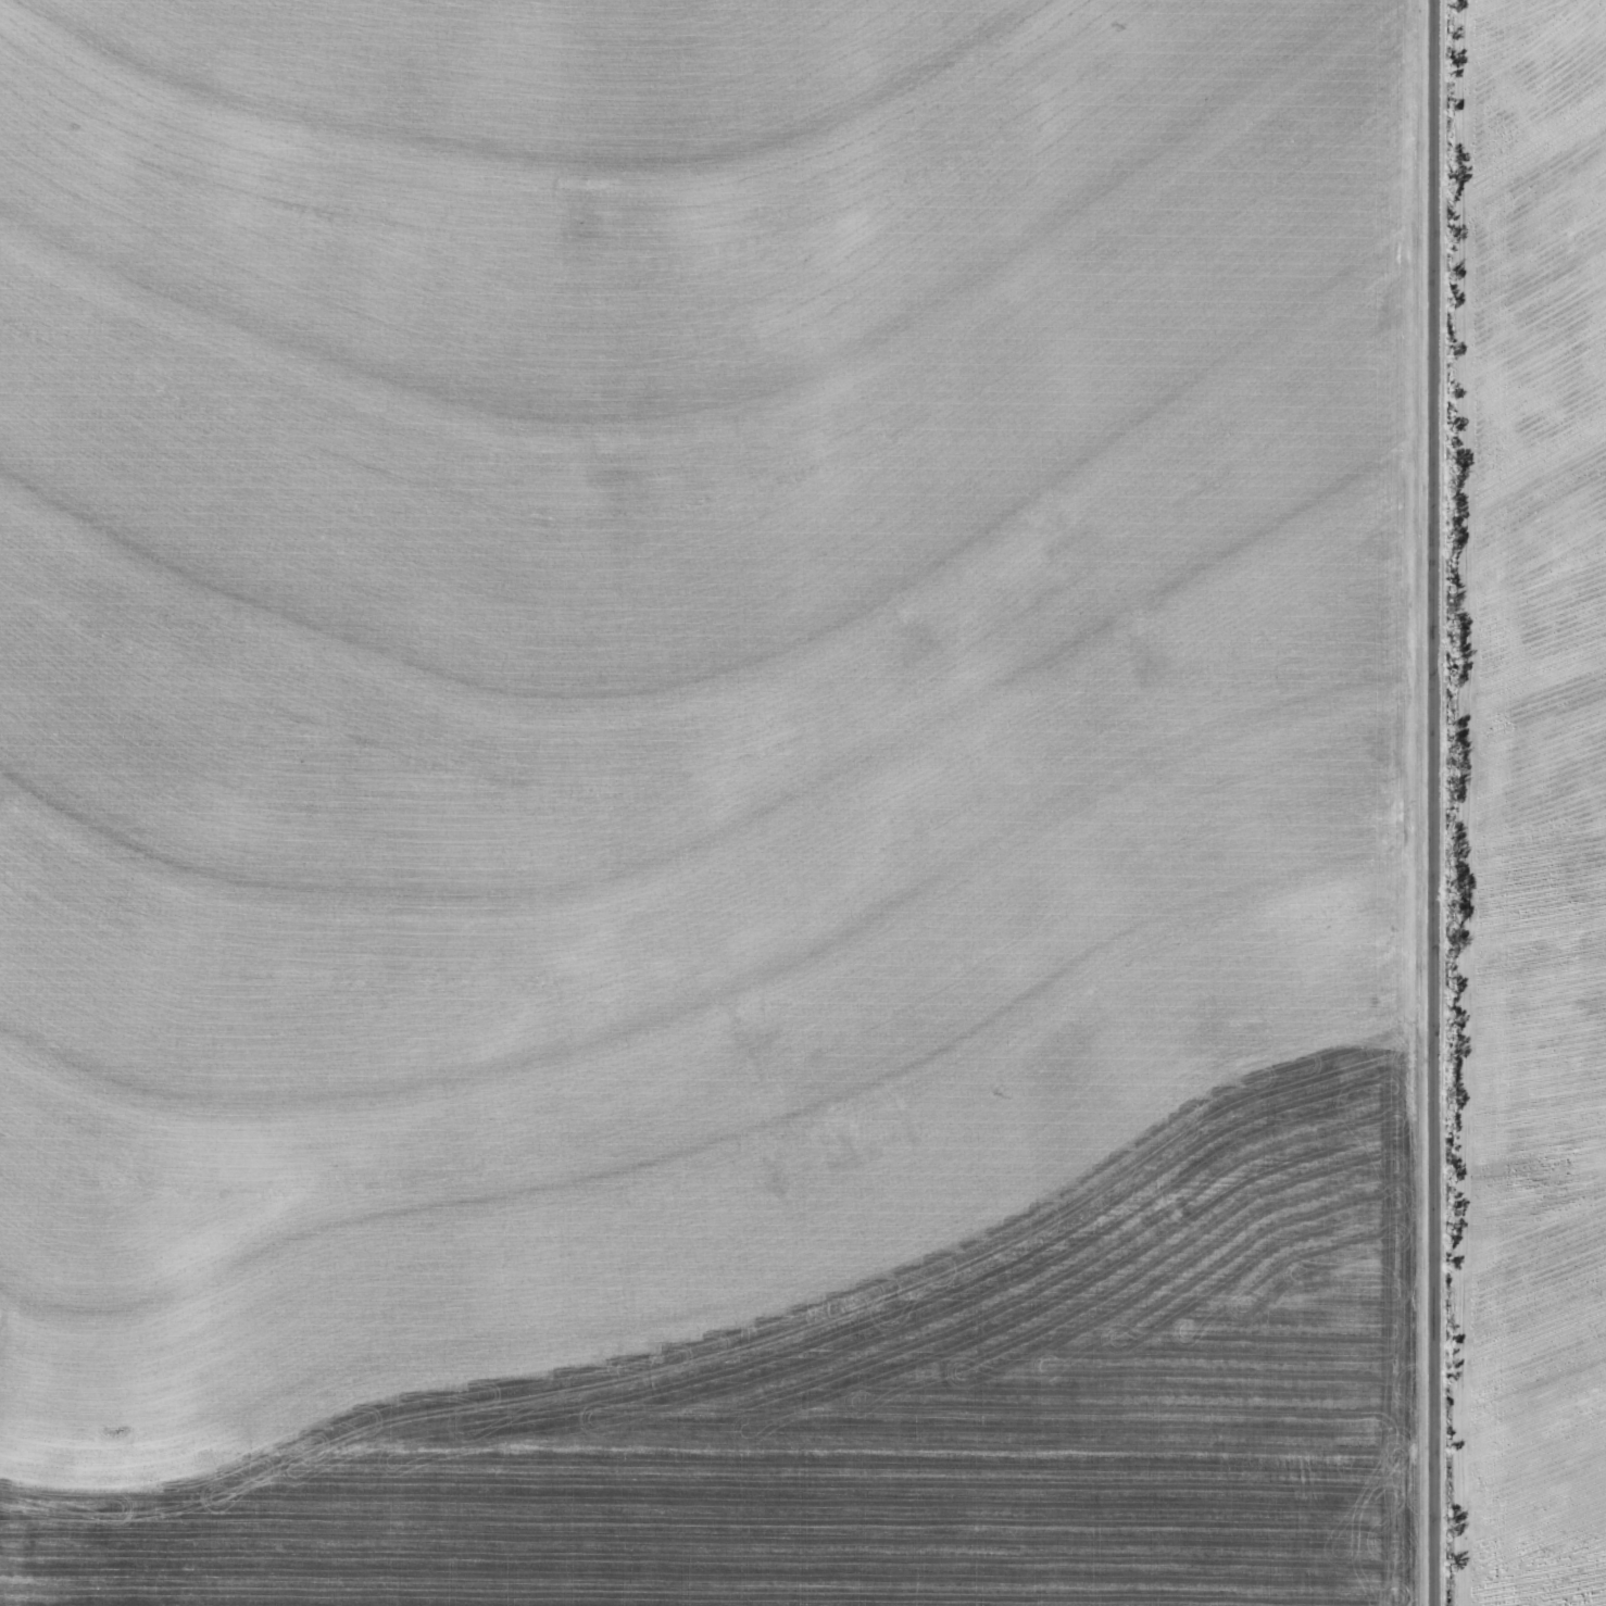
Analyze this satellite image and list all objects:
road: (1400, 803)

